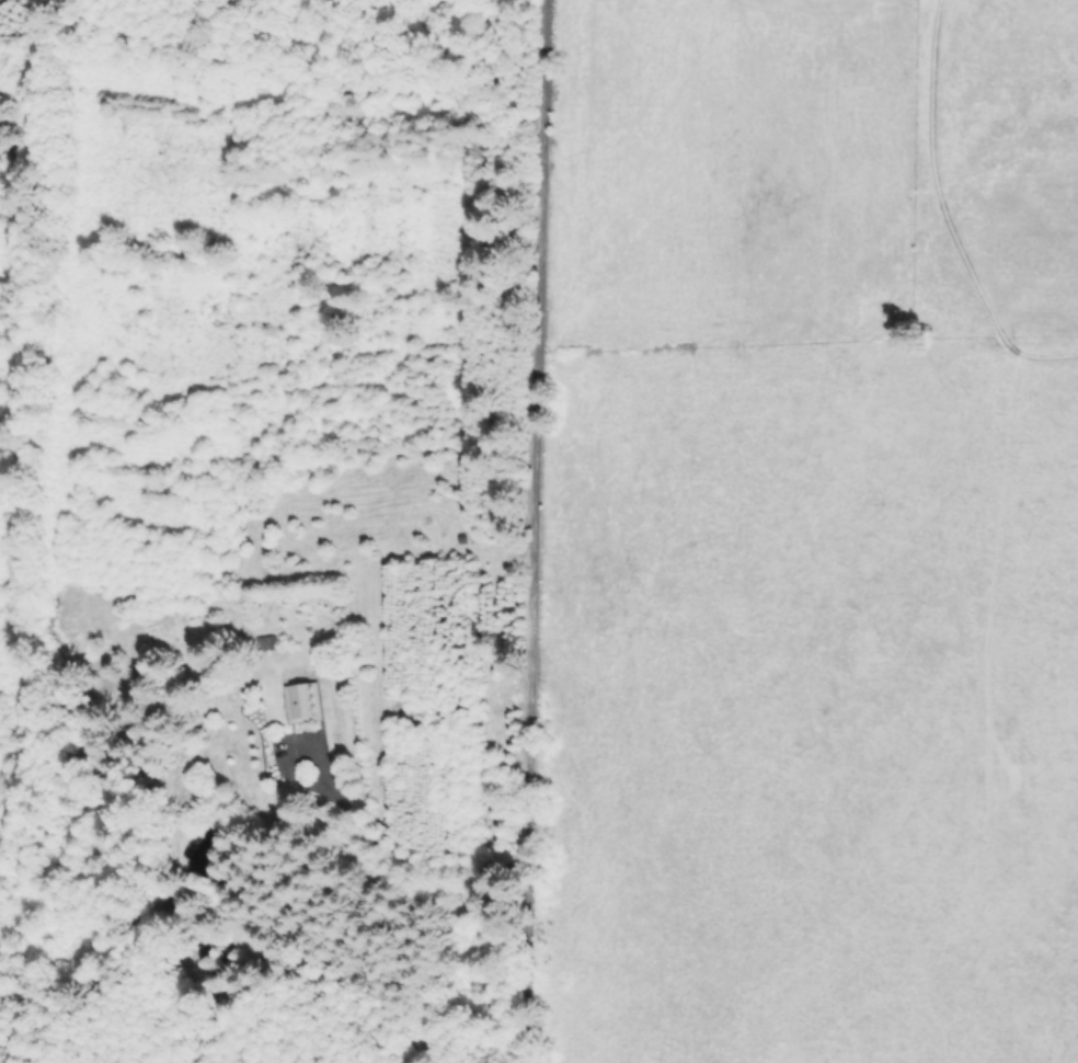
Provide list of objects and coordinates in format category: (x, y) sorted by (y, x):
road: (530, 531)
building: (267, 642)
building: (305, 701)
road: (390, 850)

